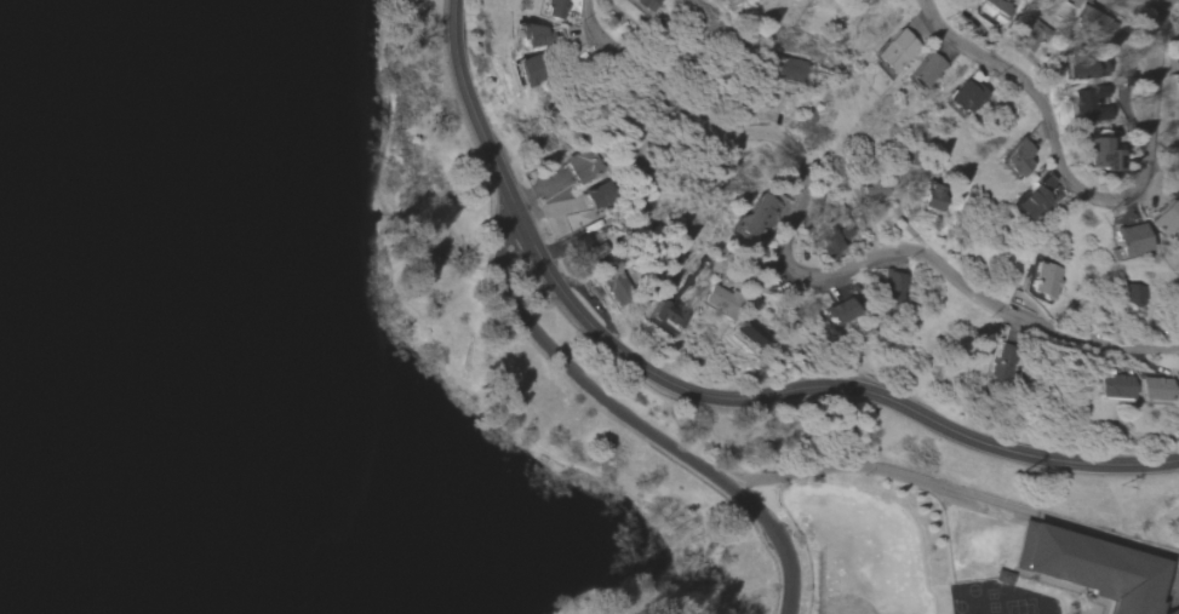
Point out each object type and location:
building: (853, 1)
road: (1146, 4)
road: (1163, 4)
building: (641, 5)
building: (550, 8)
building: (992, 11)
building: (1087, 19)
building: (534, 36)
building: (892, 53)
building: (791, 69)
building: (925, 70)
building: (1080, 70)
building: (527, 71)
building: (1178, 82)
building: (966, 97)
building: (1092, 107)
road: (471, 113)
building: (1103, 157)
building: (1017, 160)
building: (586, 166)
road: (1068, 182)
building: (872, 191)
building: (601, 195)
building: (933, 199)
building: (1030, 205)
building: (757, 217)
building: (1167, 223)
building: (1132, 242)
building: (826, 243)
building: (585, 249)
road: (801, 274)
building: (1046, 281)
building: (614, 287)
building: (889, 288)
building: (1133, 299)
building: (721, 302)
building: (837, 312)
building: (664, 316)
building: (750, 333)
park: (297, 342)
road: (534, 352)
building: (1001, 361)
road: (443, 362)
road: (817, 384)
building: (1177, 384)
building: (1114, 386)
road: (634, 424)
road: (949, 487)
building: (1087, 569)
building: (1172, 610)

